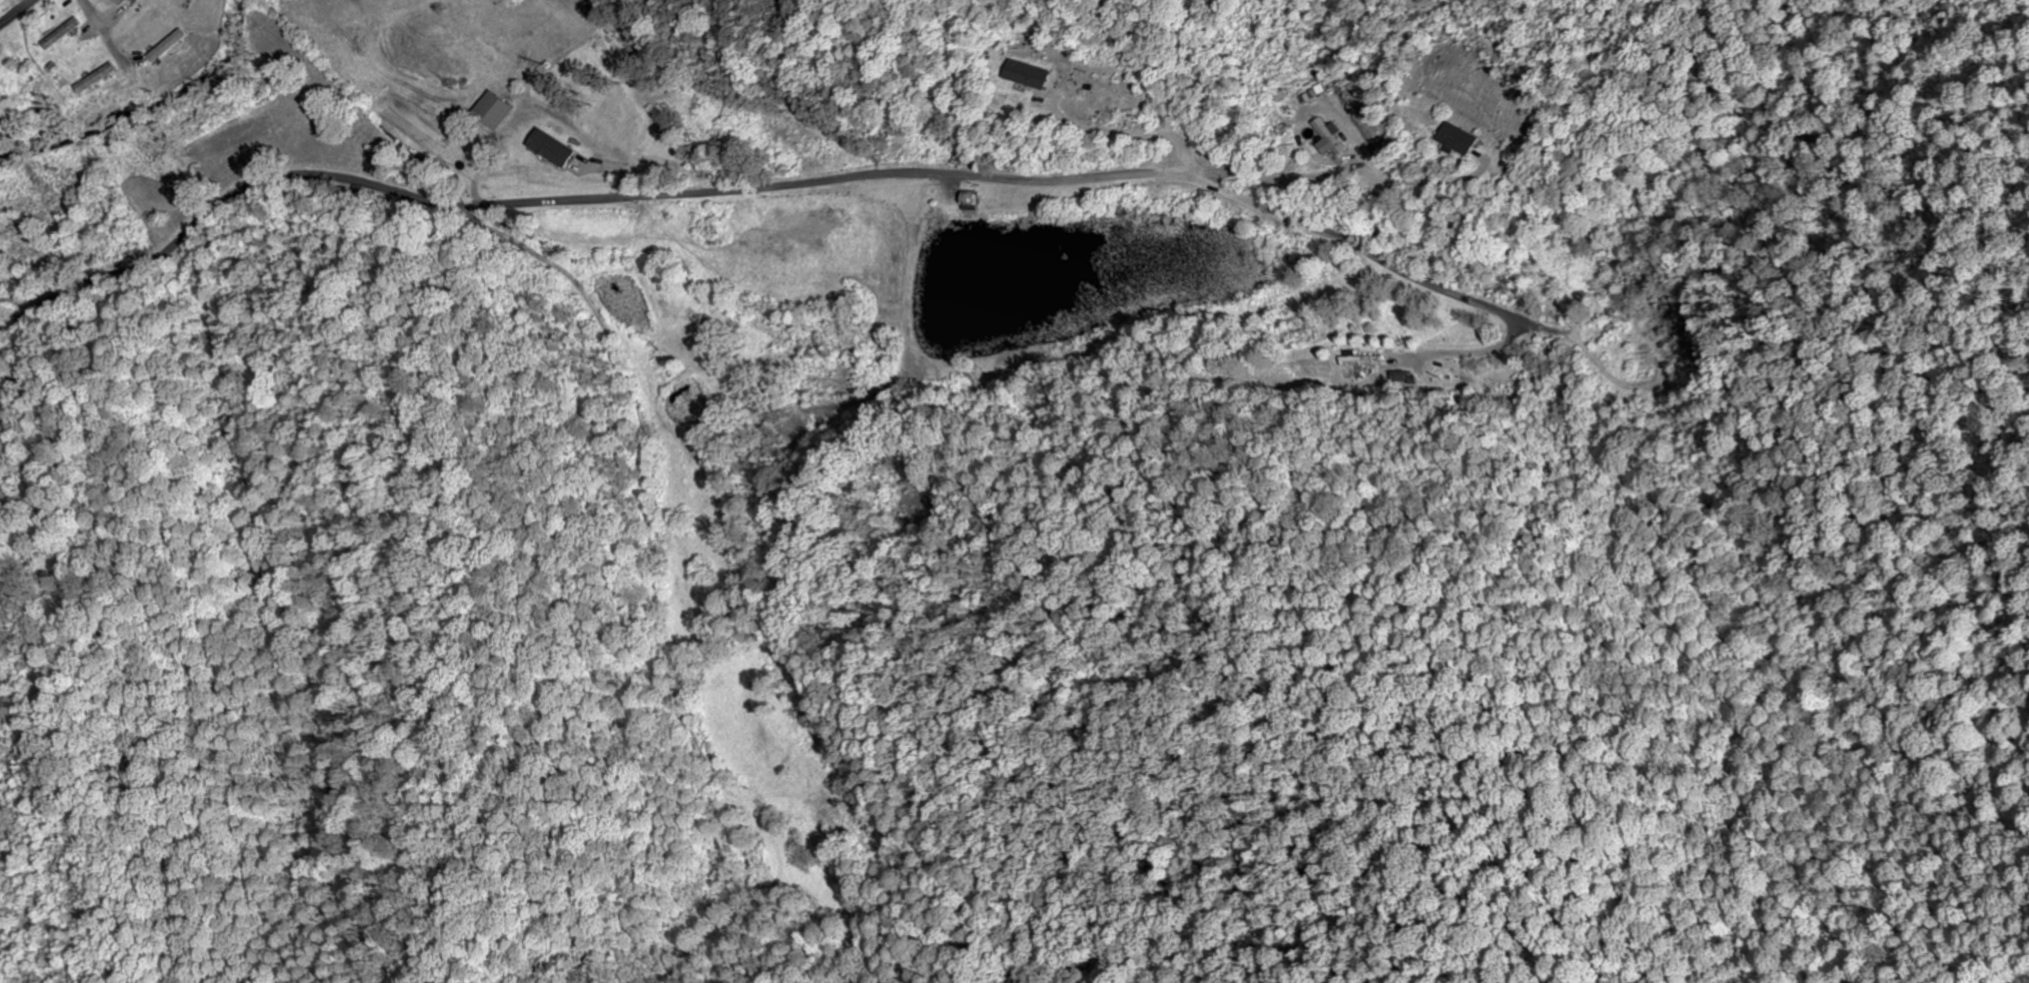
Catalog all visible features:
building: (124, 2)
park: (3, 3)
road: (17, 13)
building: (170, 46)
building: (1033, 75)
building: (99, 78)
building: (1321, 91)
building: (497, 110)
building: (1338, 138)
building: (1467, 140)
building: (553, 148)
road: (772, 186)
building: (1822, 225)
building: (1359, 361)

